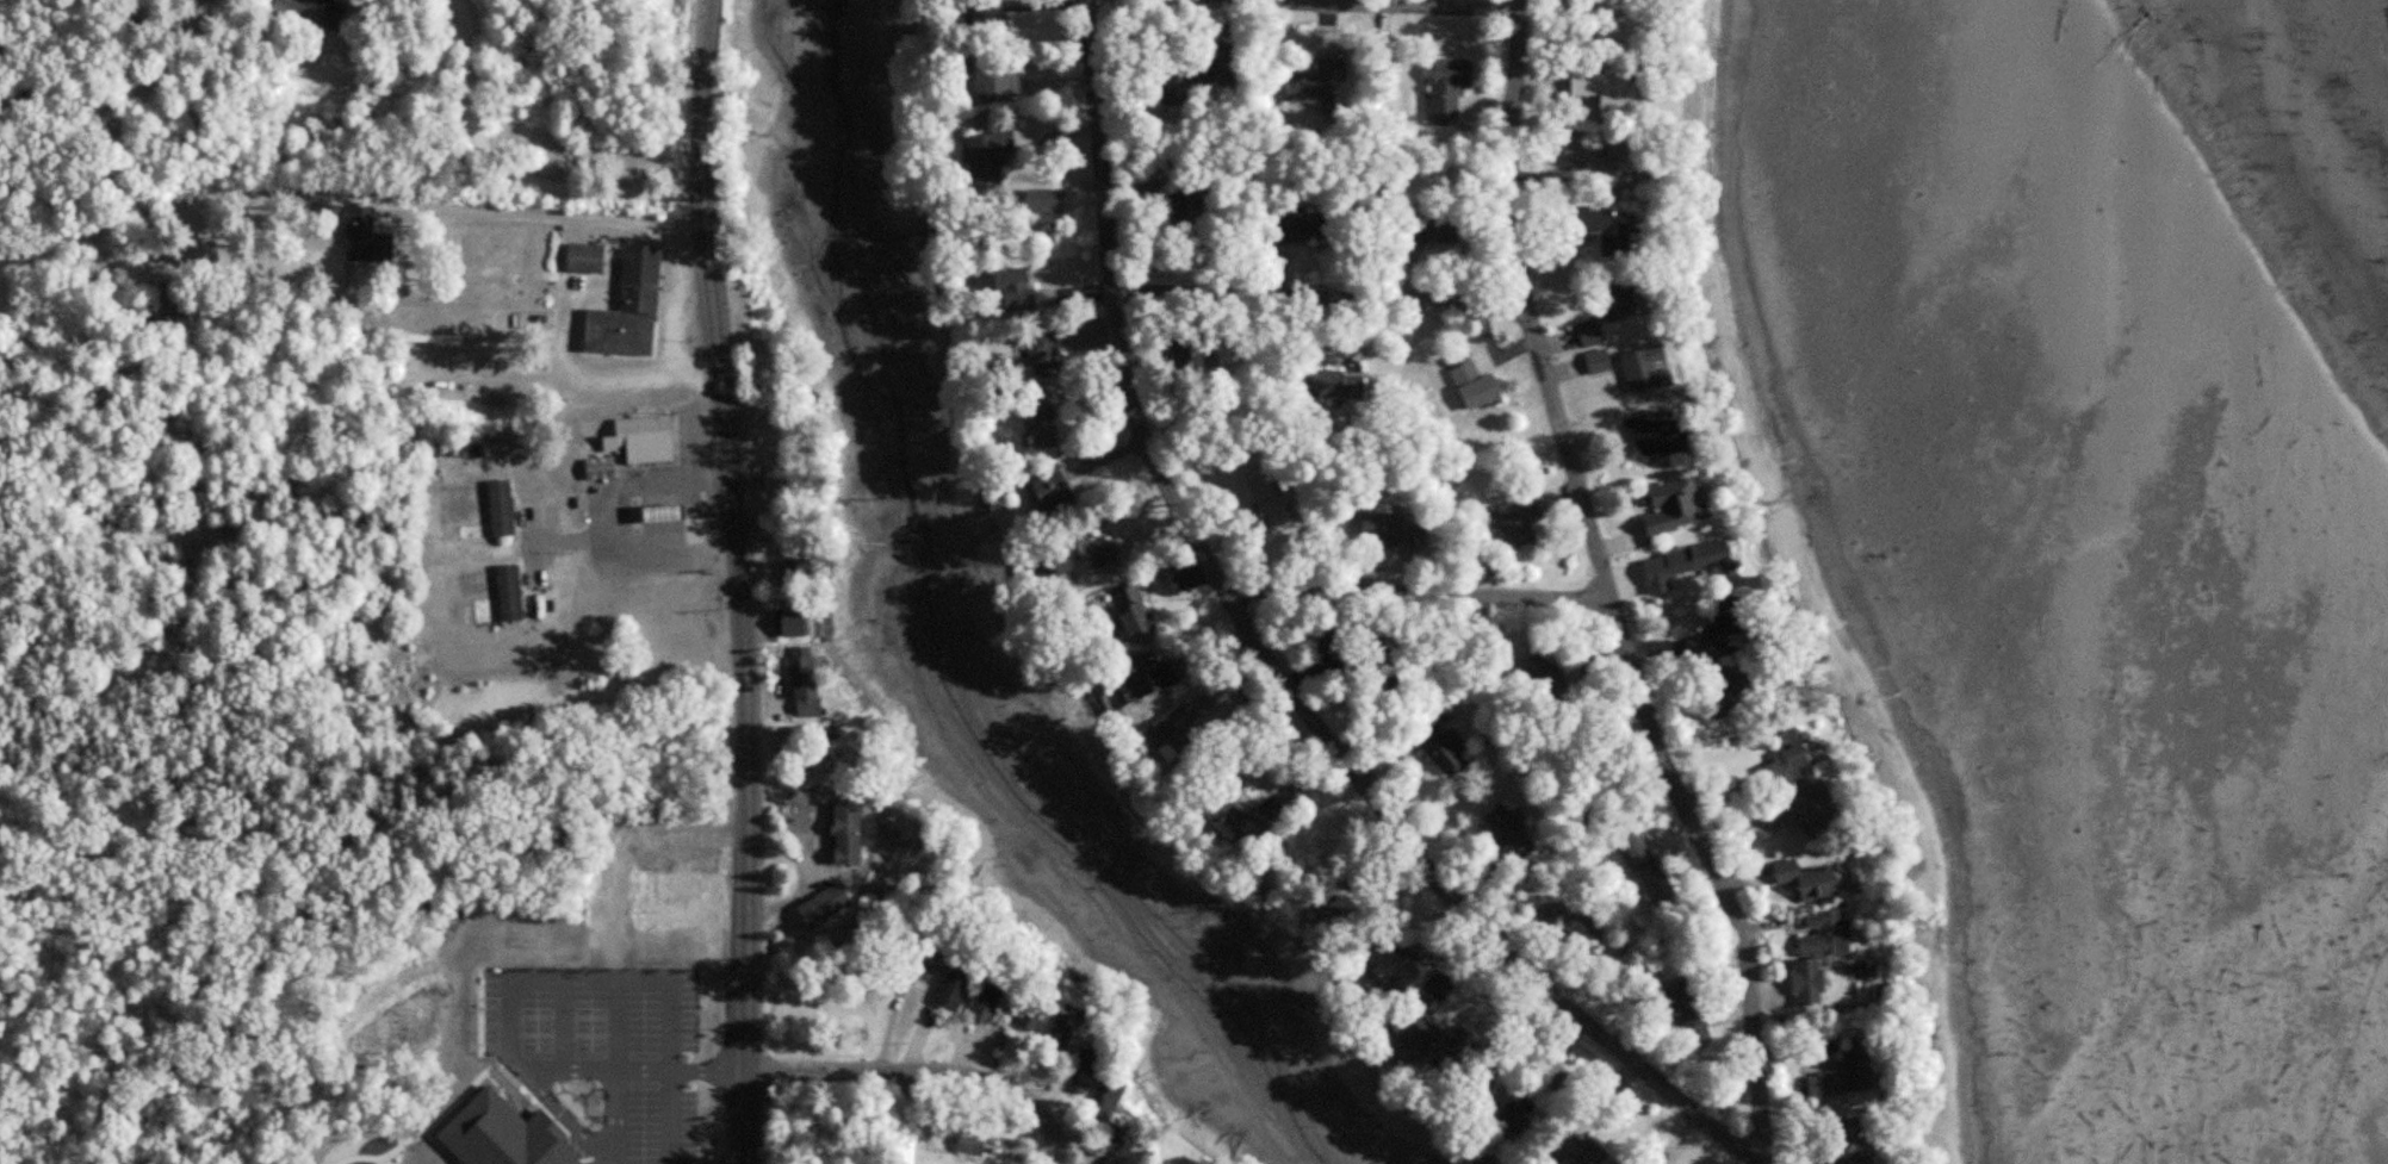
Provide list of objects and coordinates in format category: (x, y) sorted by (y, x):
road: (1427, 4)
building: (990, 6)
building: (320, 10)
building: (1627, 15)
building: (1205, 70)
building: (998, 80)
building: (1449, 82)
building: (1315, 86)
building: (1609, 92)
building: (1576, 144)
building: (992, 156)
building: (1615, 161)
road: (515, 166)
road: (551, 216)
building: (1189, 216)
building: (1605, 223)
building: (1308, 225)
building: (1431, 225)
building: (370, 237)
building: (591, 259)
building: (1617, 295)
road: (672, 298)
building: (1030, 299)
building: (175, 300)
road: (1316, 300)
building: (633, 309)
building: (1590, 329)
building: (1049, 350)
building: (1598, 357)
building: (1645, 366)
building: (1471, 378)
road: (571, 379)
building: (1044, 417)
building: (1658, 430)
building: (649, 435)
building: (603, 468)
building: (1057, 490)
building: (1276, 502)
road: (696, 503)
building: (1671, 503)
building: (504, 508)
building: (671, 512)
building: (1520, 516)
building: (1385, 529)
road: (598, 540)
building: (1085, 554)
building: (1716, 558)
road: (535, 561)
building: (1669, 564)
building: (806, 571)
road: (742, 580)
building: (513, 593)
road: (1422, 602)
road: (1612, 603)
building: (1139, 611)
building: (801, 623)
building: (1725, 634)
road: (1264, 643)
building: (1542, 668)
building: (1155, 674)
building: (811, 689)
building: (1180, 735)
building: (1449, 749)
building: (1799, 762)
building: (1799, 807)
building: (1514, 830)
building: (894, 857)
building: (1645, 865)
building: (1806, 876)
building: (684, 885)
building: (831, 904)
building: (1564, 916)
building: (1425, 950)
building: (1817, 952)
building: (941, 959)
building: (1396, 964)
building: (964, 982)
building: (1439, 984)
building: (1000, 998)
building: (1687, 1009)
building: (1038, 1015)
building: (1072, 1026)
building: (1420, 1027)
building: (1090, 1069)
building: (1469, 1069)
building: (1844, 1070)
road: (930, 1075)
building: (1117, 1115)
building: (1524, 1115)
building: (978, 1141)
building: (1575, 1147)
building: (1863, 1151)
building: (1633, 1160)
road: (1757, 1160)

